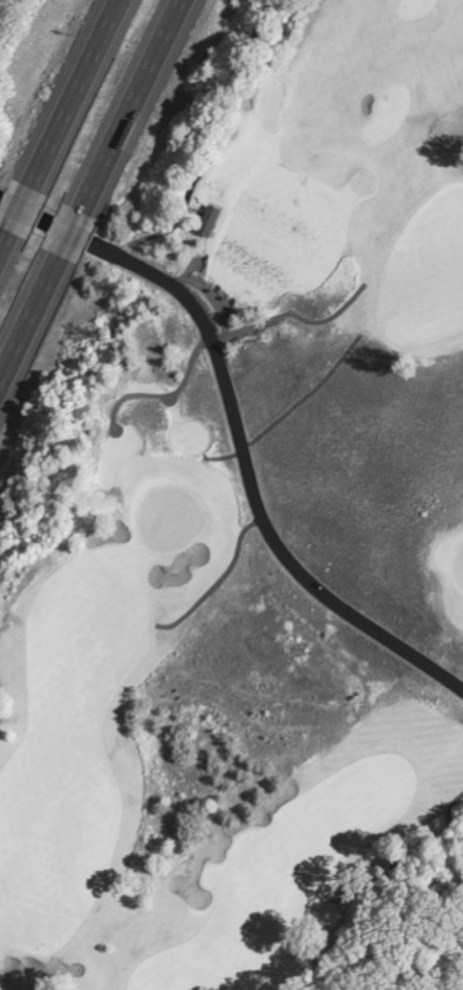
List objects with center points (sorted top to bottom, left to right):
park: (412, 8)
road: (65, 99)
road: (123, 112)
park: (386, 113)
road: (203, 137)
park: (360, 183)
road: (13, 208)
building: (203, 224)
road: (4, 226)
road: (65, 234)
road: (188, 264)
road: (209, 299)
road: (218, 302)
road: (30, 306)
road: (289, 315)
road: (152, 393)
road: (166, 399)
road: (287, 408)
road: (106, 409)
park: (227, 484)
road: (249, 484)
park: (167, 520)
road: (216, 579)
road: (406, 855)

